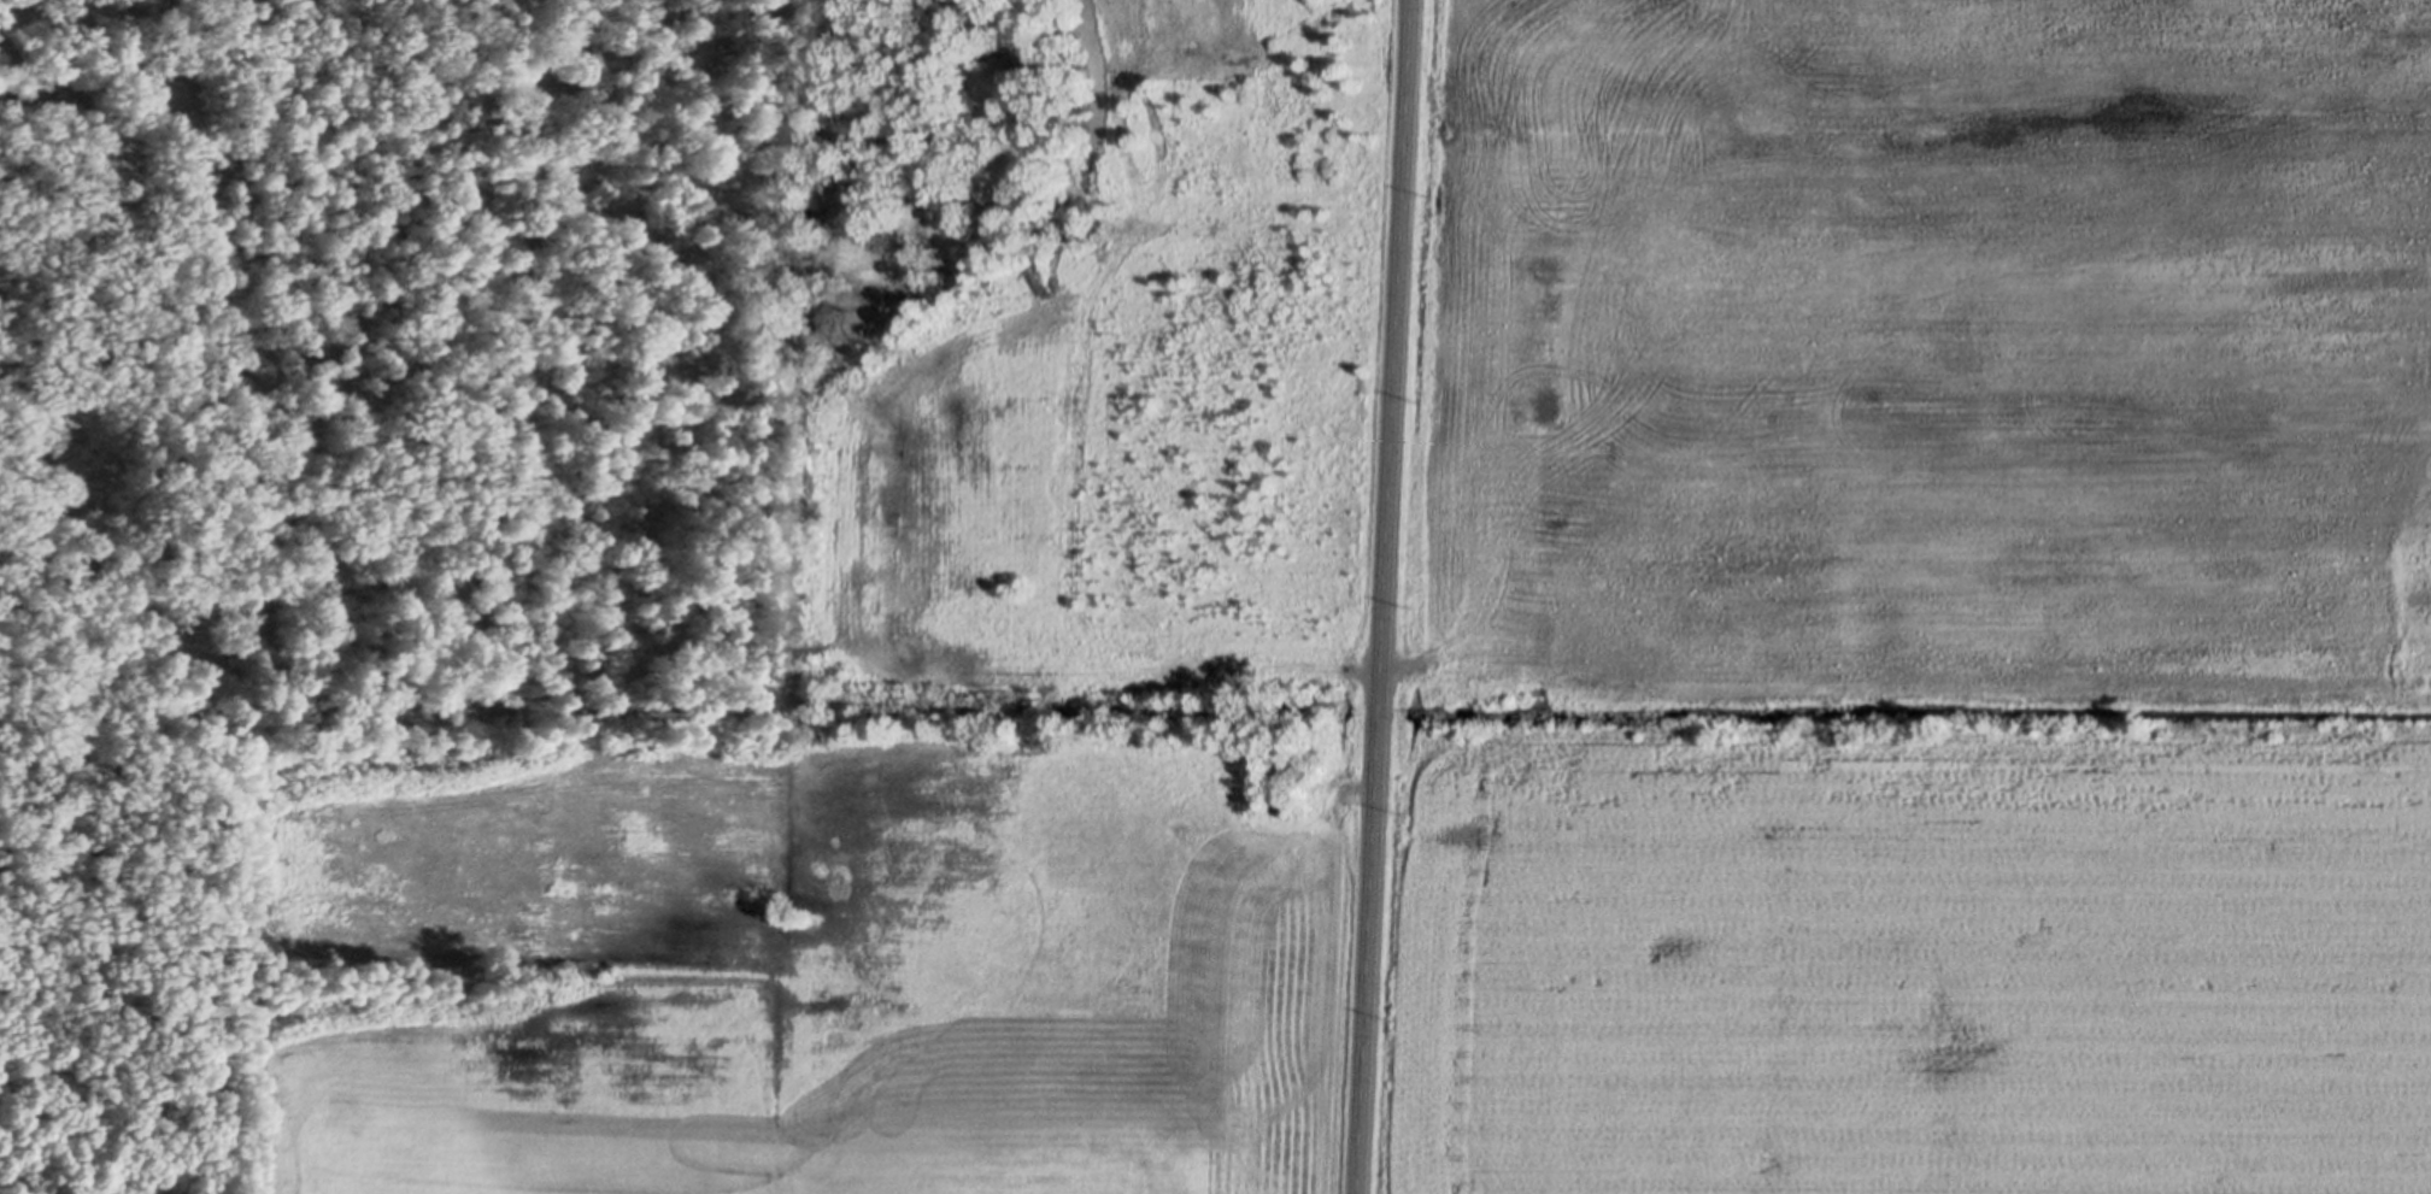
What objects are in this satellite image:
road: (1385, 596)
building: (1281, 776)

